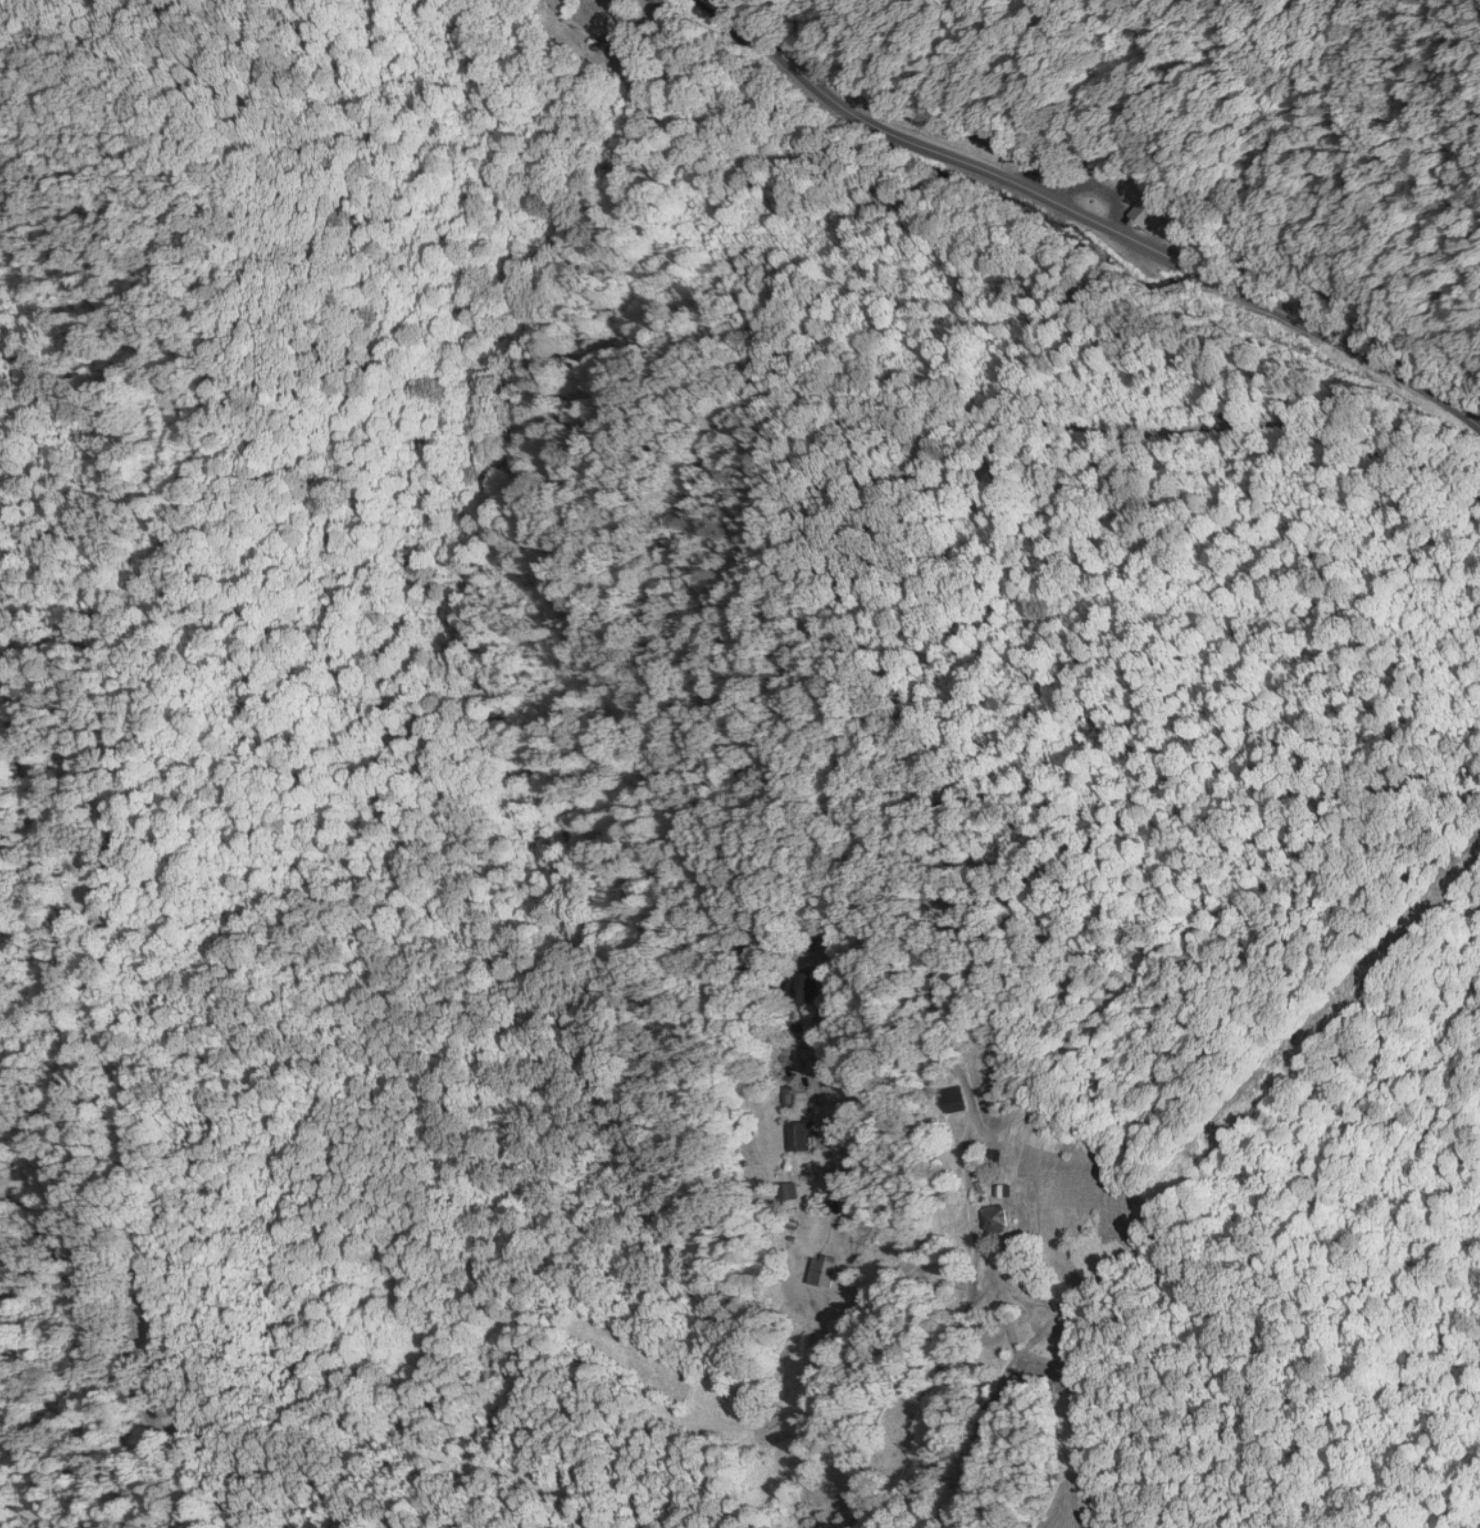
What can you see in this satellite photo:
road: (829, 54)
road: (938, 148)
road: (1200, 267)
road: (1354, 340)
road: (1405, 462)
road: (718, 935)
building: (803, 985)
building: (946, 1099)
building: (796, 1134)
building: (987, 1157)
building: (787, 1190)
building: (996, 1190)
building: (991, 1218)
building: (820, 1271)

